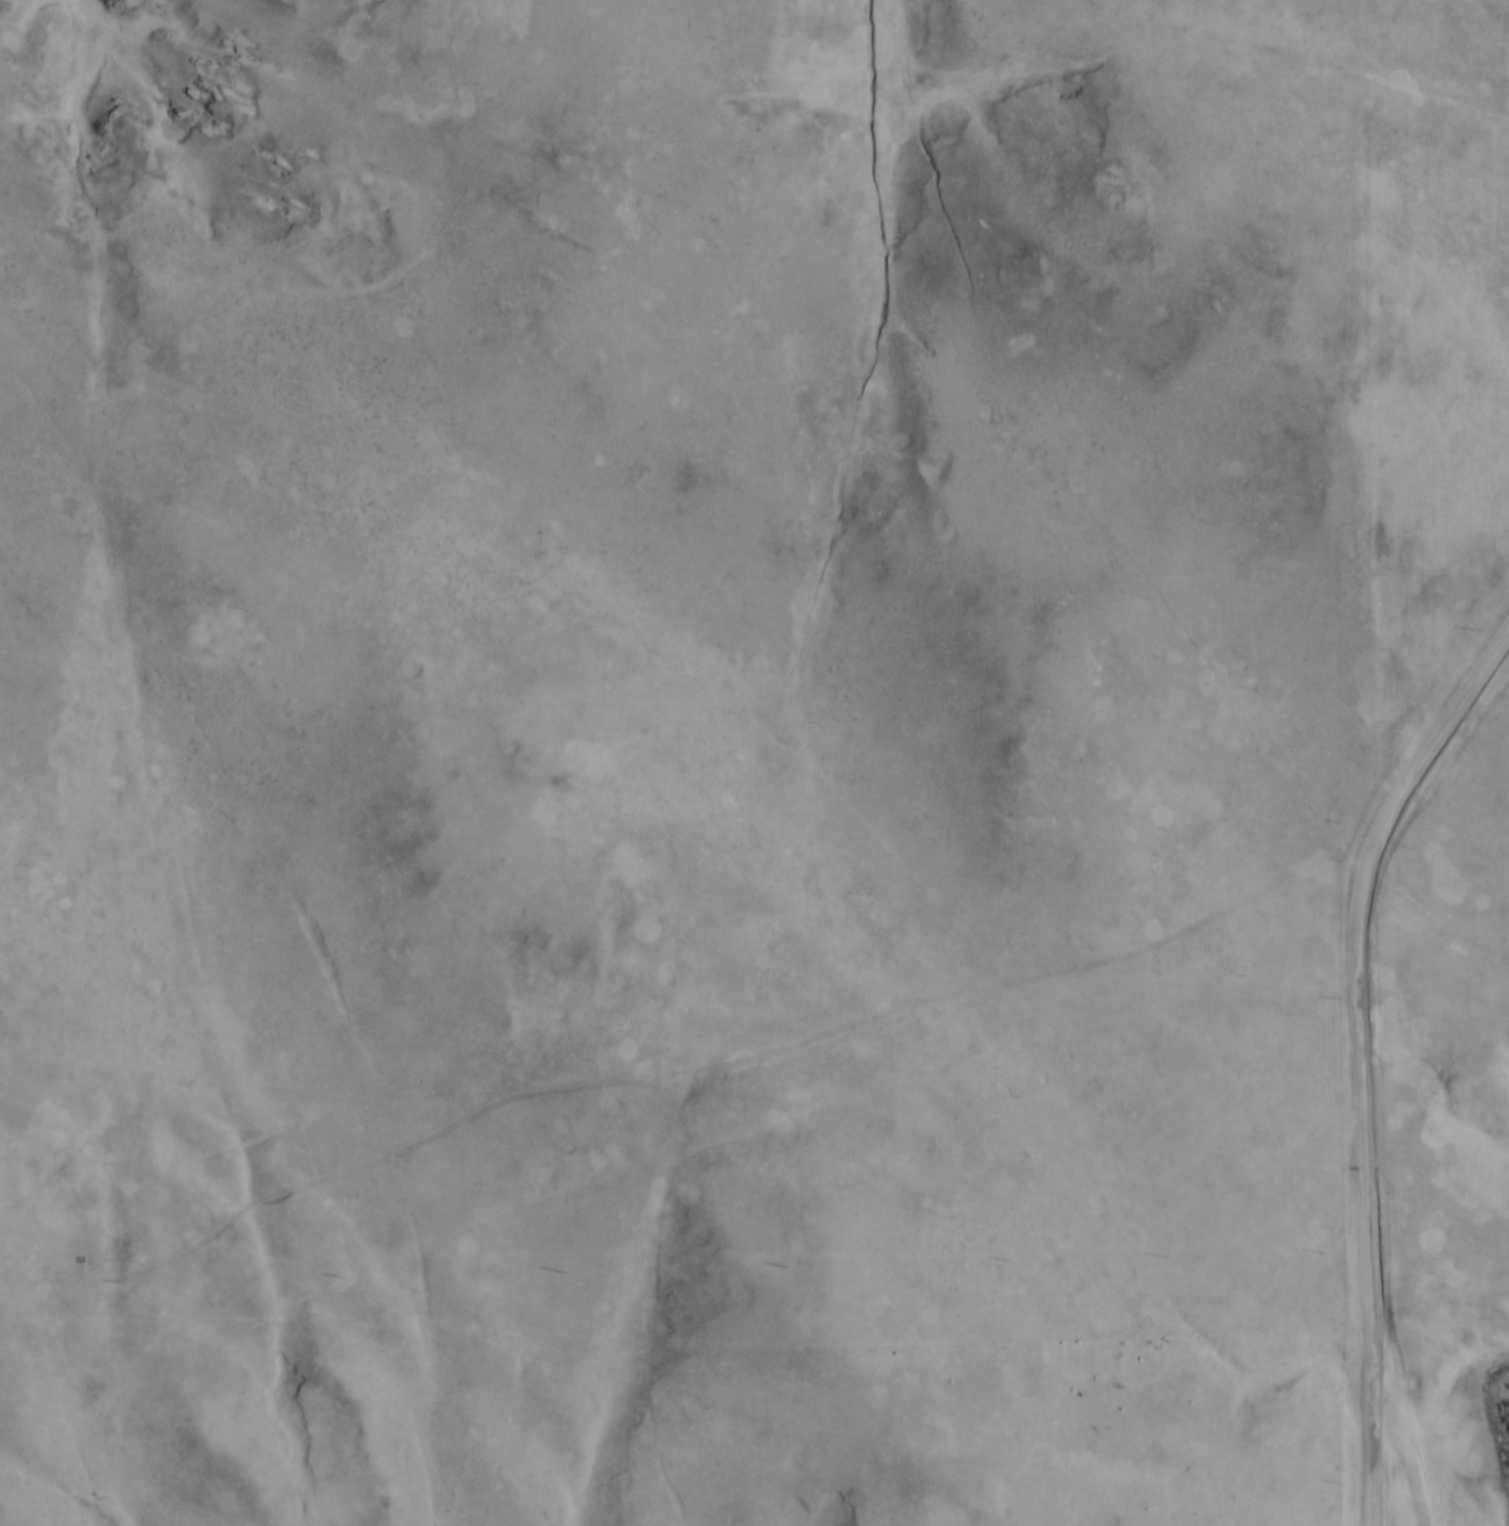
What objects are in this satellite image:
road: (1435, 744)
road: (668, 749)
road: (1368, 1190)

